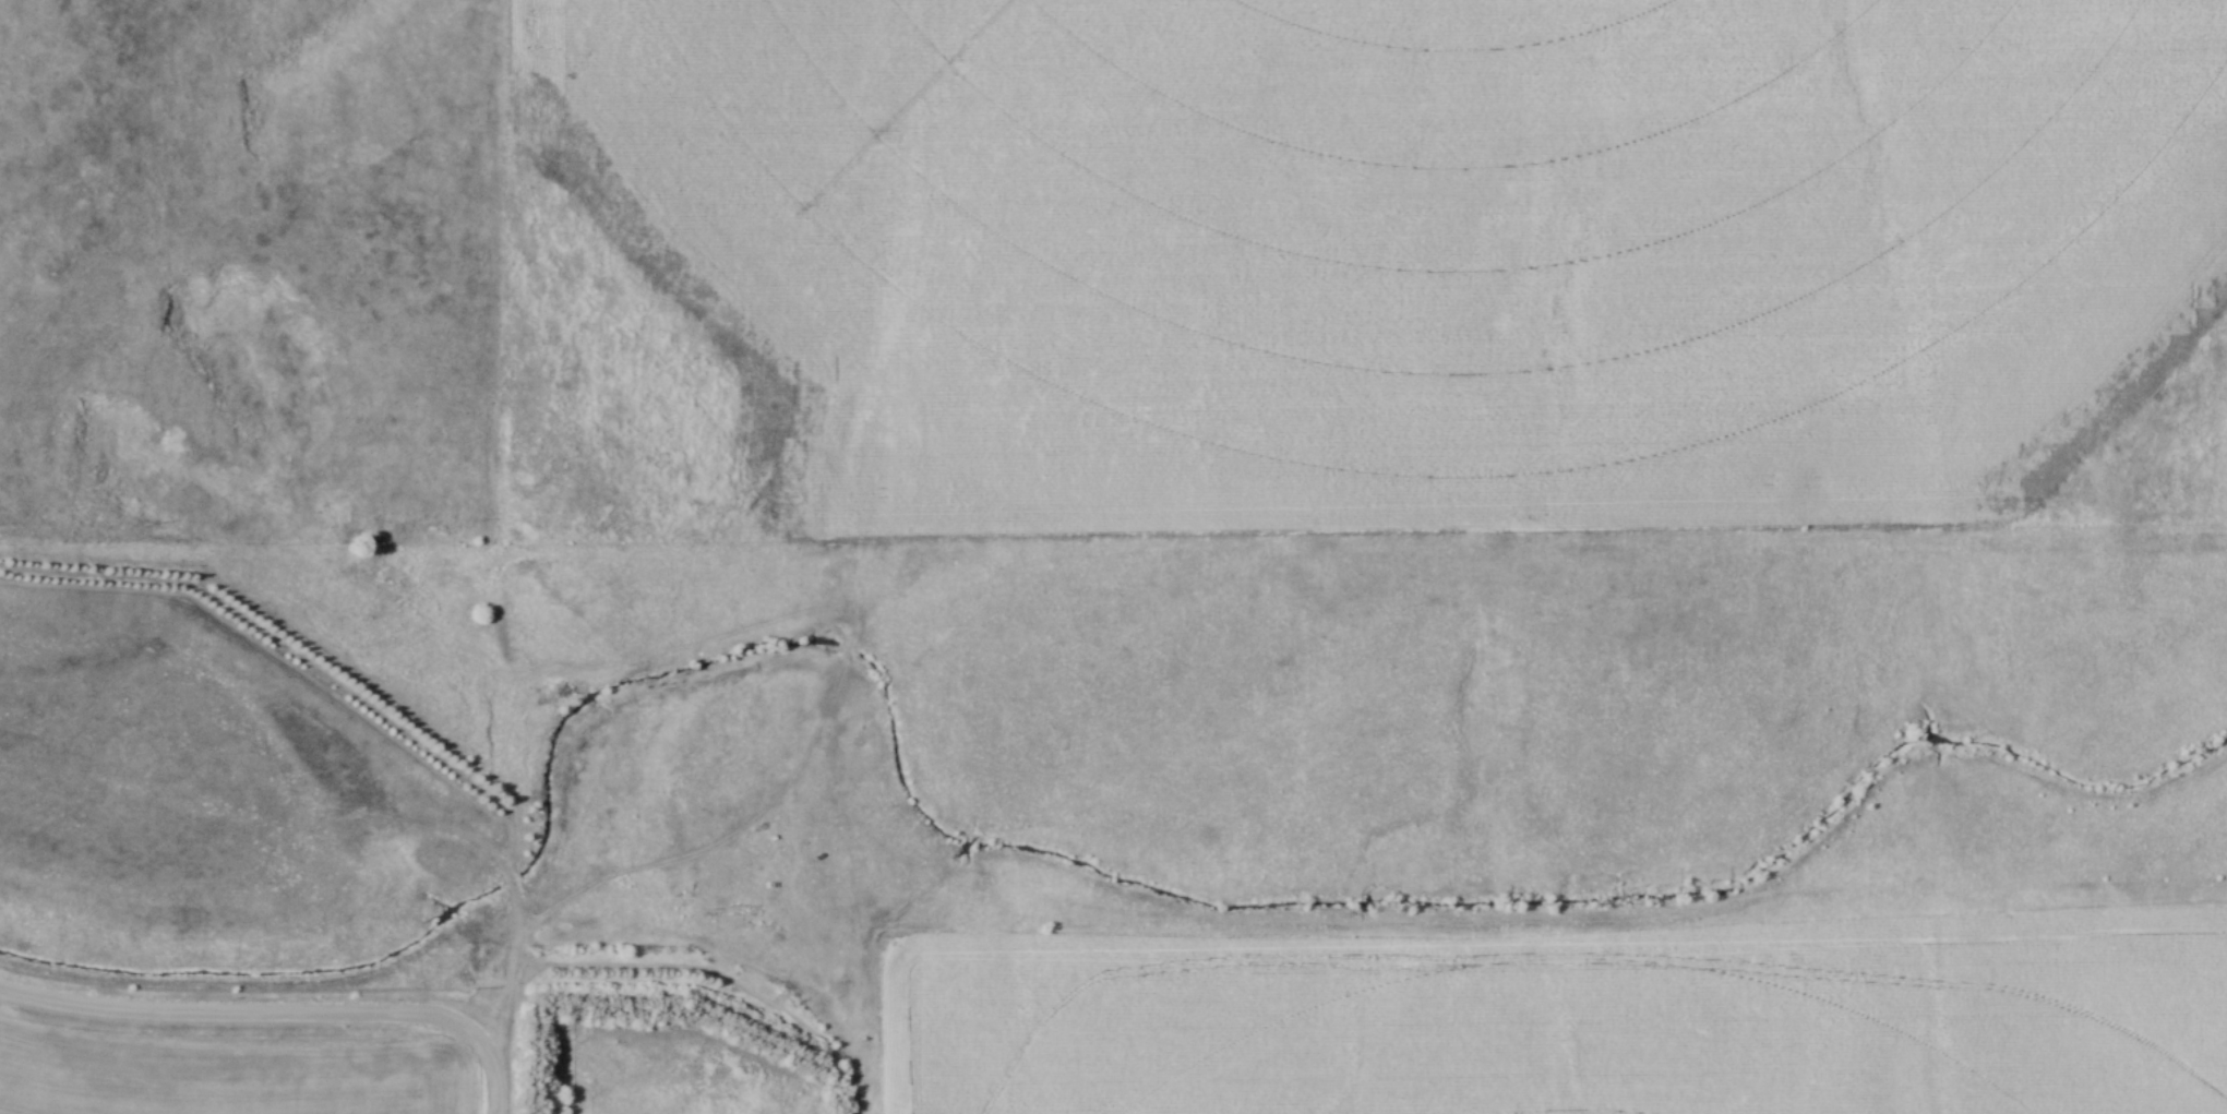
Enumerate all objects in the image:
road: (259, 1011)
road: (490, 1094)

